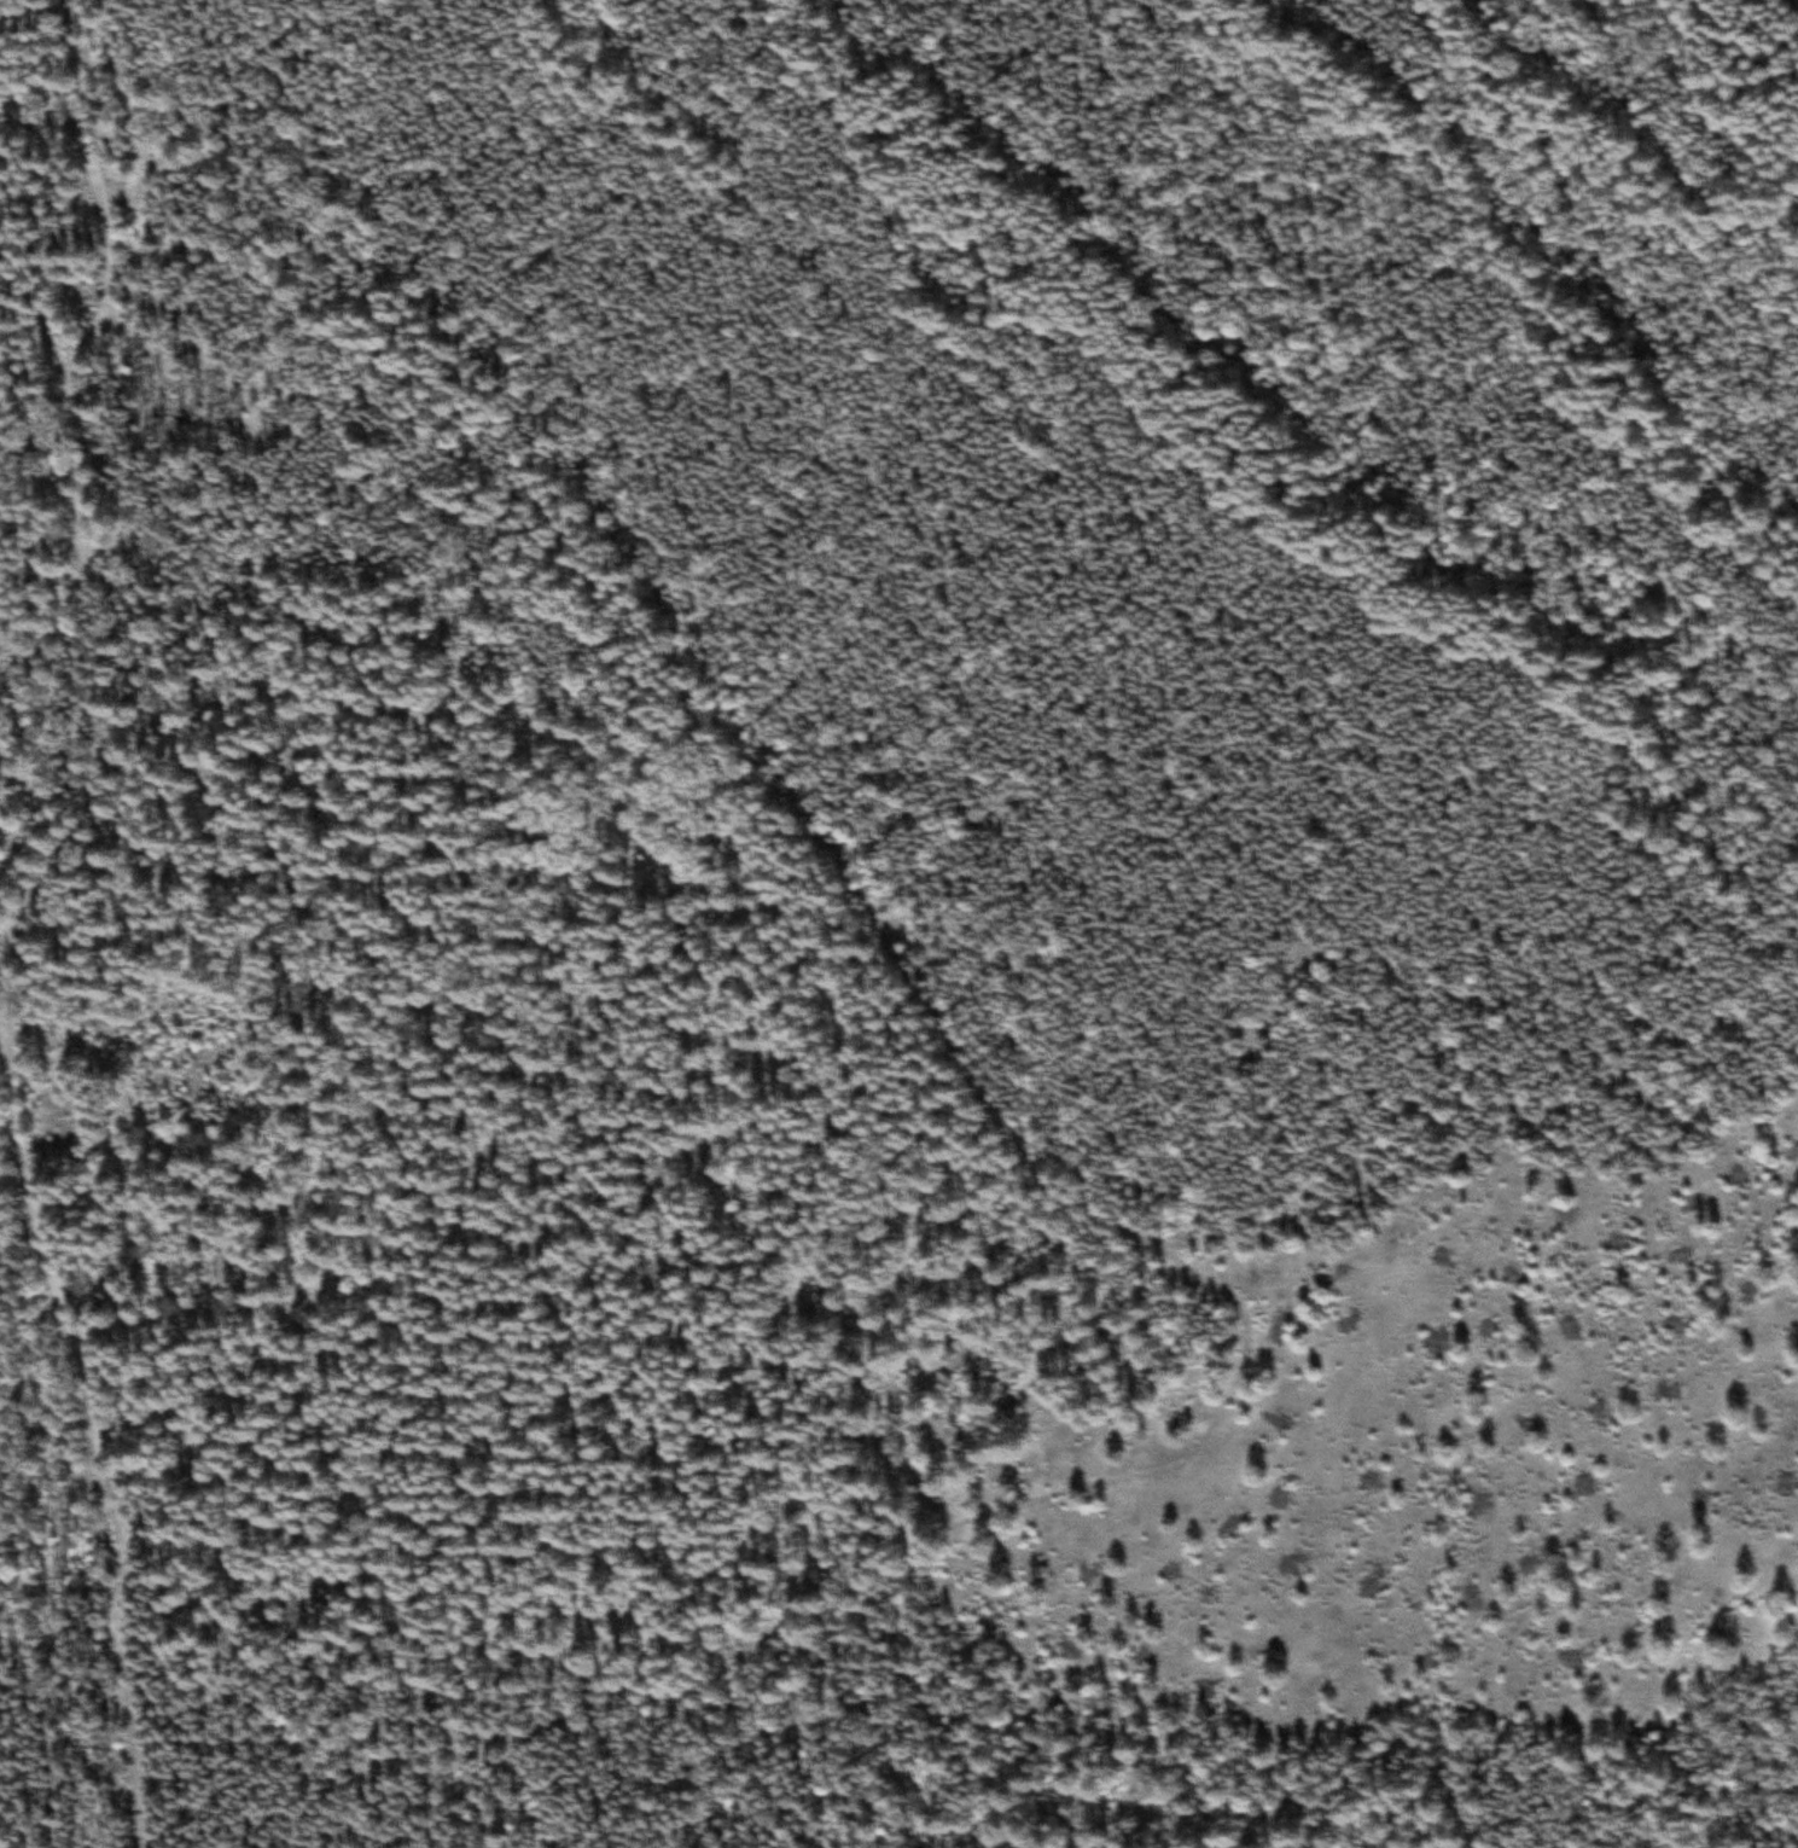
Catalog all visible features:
road: (50, 126)
road: (82, 550)
road: (616, 1134)
road: (89, 1414)
road: (1618, 1704)

